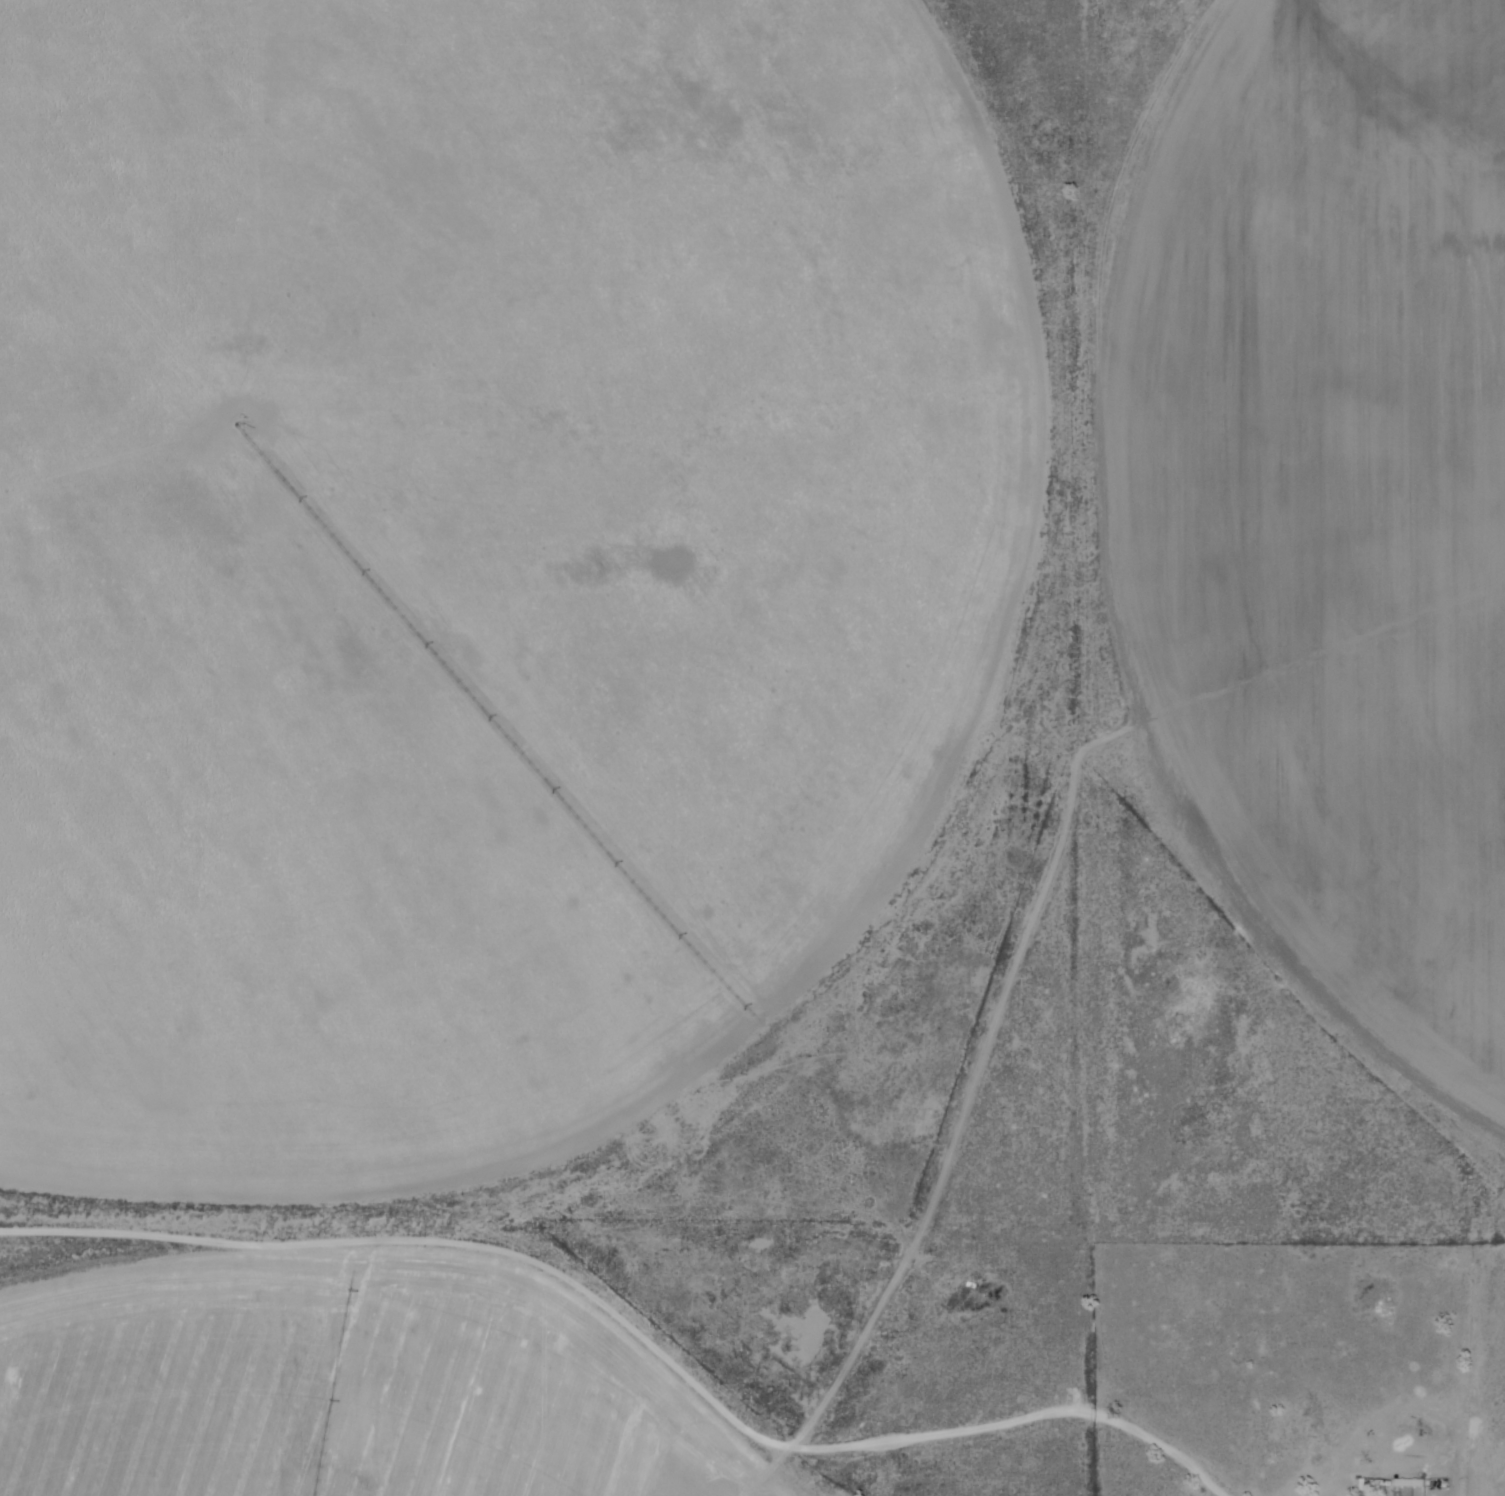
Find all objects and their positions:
road: (654, 427)
road: (632, 1332)

